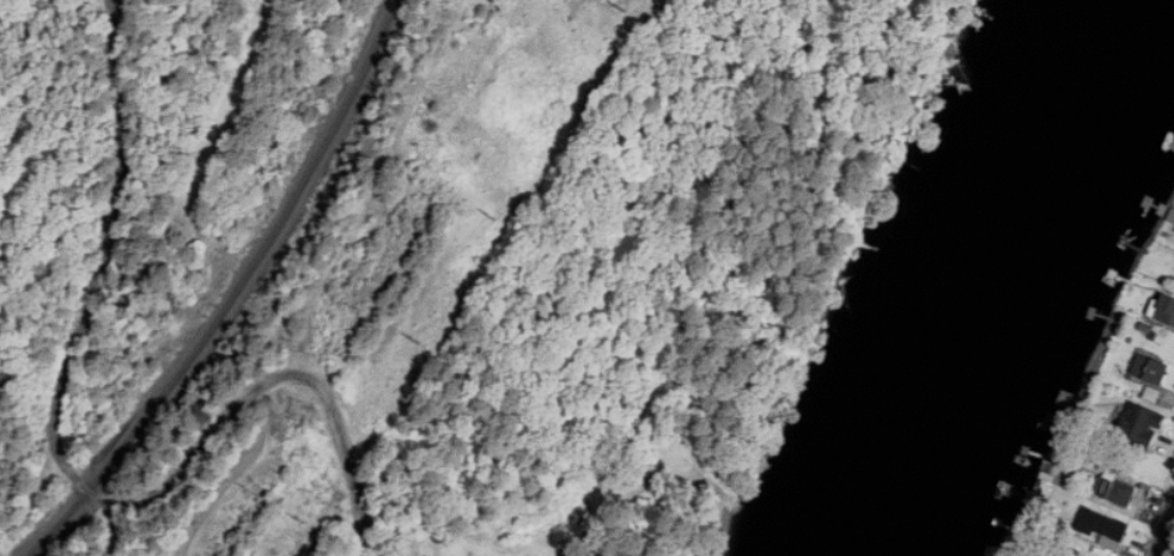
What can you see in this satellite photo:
power tower: (624, 5)
road: (673, 112)
road: (826, 185)
power tower: (493, 215)
park: (668, 265)
river: (996, 282)
railway: (237, 292)
building: (1166, 308)
power tower: (416, 337)
building: (1150, 368)
building: (1152, 392)
building: (1138, 423)
road: (73, 475)
building: (1115, 488)
power tower: (303, 518)
park: (407, 519)
building: (1103, 525)
road: (1164, 536)

